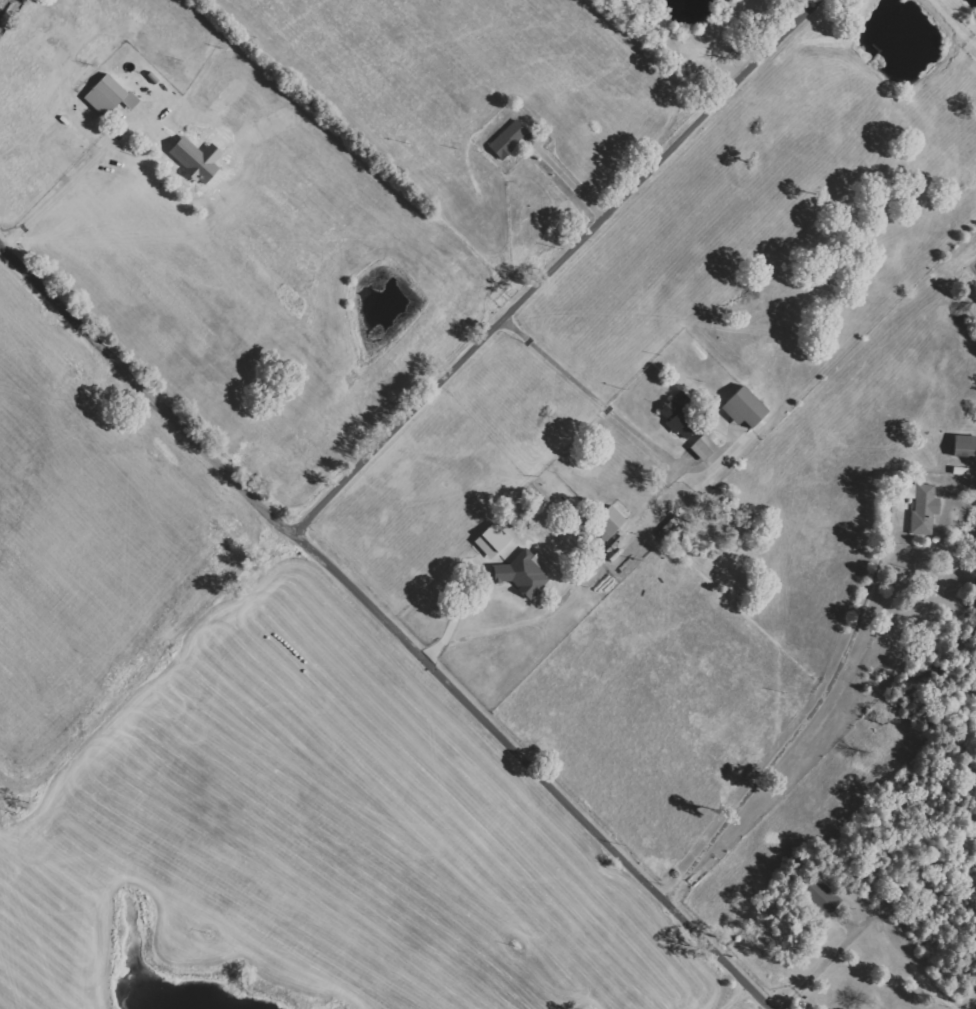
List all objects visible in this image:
building: (109, 96)
building: (509, 139)
road: (68, 175)
road: (571, 183)
road: (555, 264)
building: (745, 408)
building: (677, 416)
building: (965, 446)
road: (643, 501)
building: (923, 507)
building: (609, 523)
building: (493, 541)
building: (527, 574)
road: (391, 622)
road: (796, 726)
building: (822, 895)
road: (878, 913)

